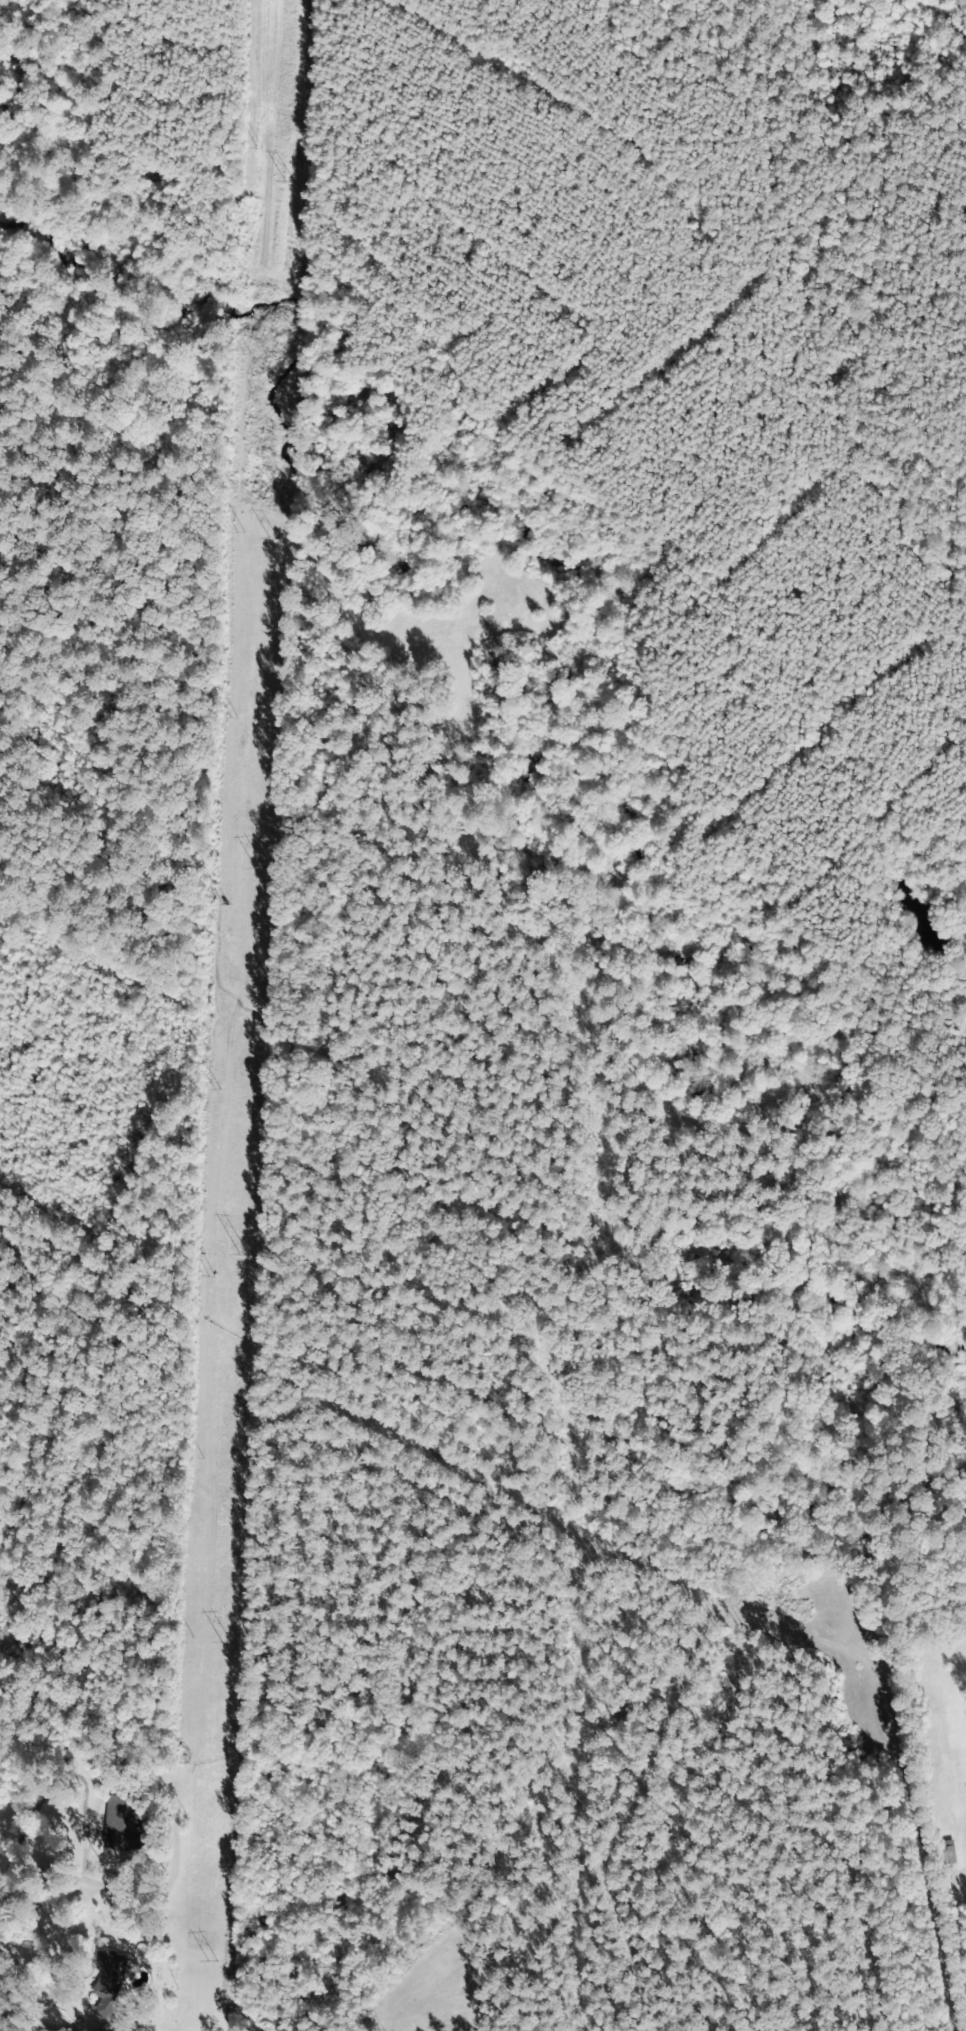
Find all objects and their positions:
building: (943, 1852)
road: (743, 1945)
building: (105, 1976)

